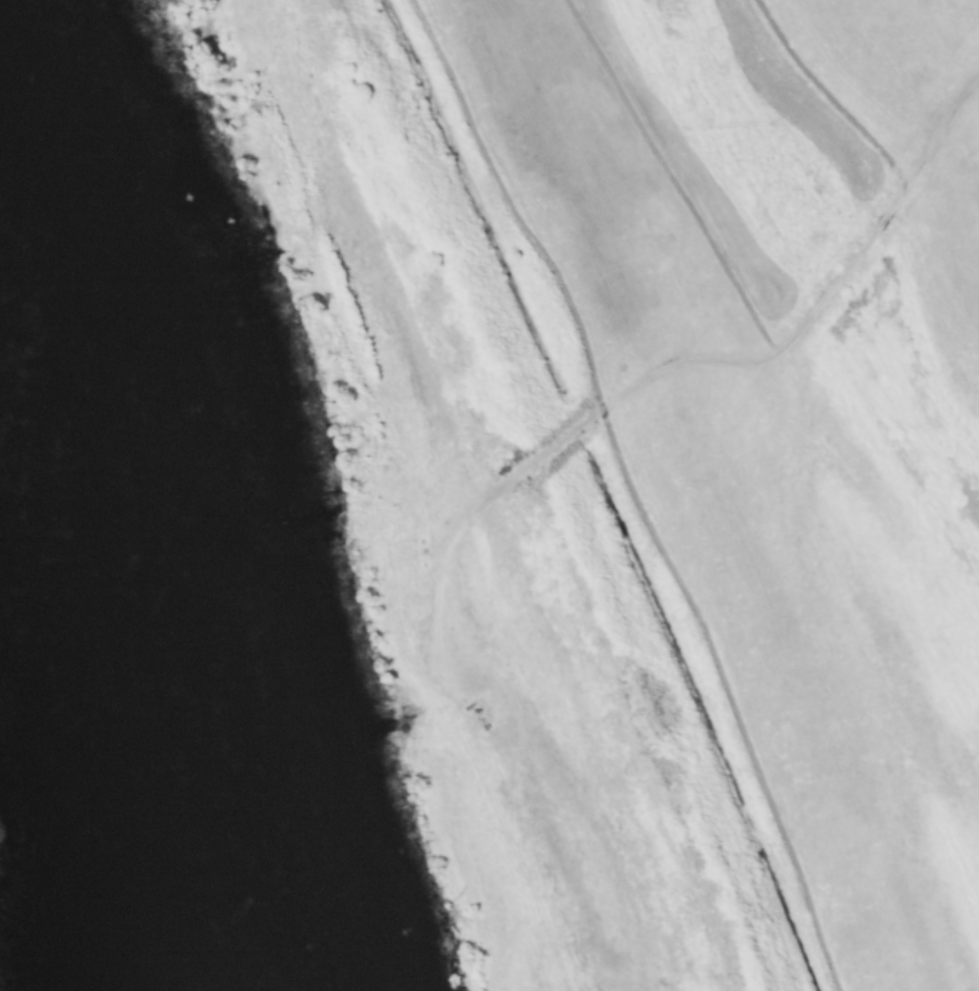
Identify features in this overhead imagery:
road: (783, 349)

